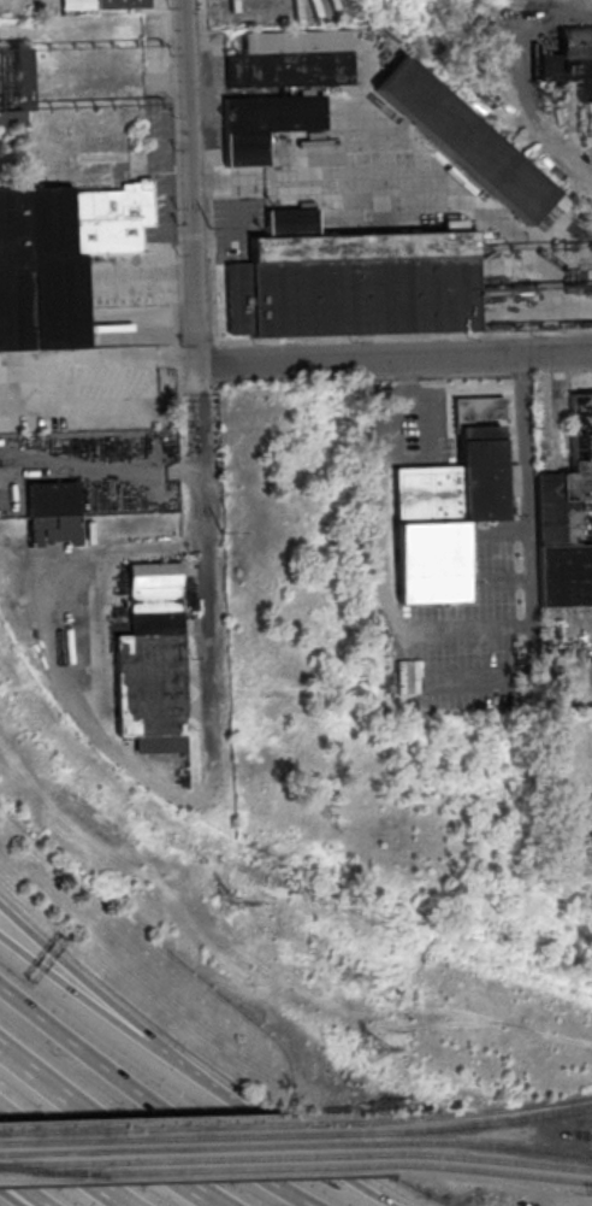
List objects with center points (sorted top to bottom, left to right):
building: (105, 5)
building: (292, 60)
building: (572, 61)
building: (12, 87)
building: (265, 125)
building: (463, 145)
building: (59, 259)
building: (351, 284)
road: (96, 358)
road: (392, 359)
road: (196, 402)
road: (99, 465)
building: (569, 488)
building: (448, 504)
building: (52, 512)
road: (527, 554)
building: (564, 578)
road: (101, 596)
building: (152, 659)
building: (580, 818)
power tower: (230, 901)
road: (117, 999)
road: (114, 1019)
power tower: (369, 1049)
road: (165, 1092)
railway: (448, 1114)
road: (118, 1122)
railway: (457, 1124)
railway: (152, 1126)
railway: (160, 1137)
railway: (466, 1142)
railway: (170, 1147)
road: (75, 1152)
road: (324, 1152)
railway: (433, 1154)
railway: (178, 1158)
railway: (551, 1165)
railway: (18, 1166)
railway: (187, 1169)
railway: (484, 1169)
railway: (66, 1171)
road: (31, 1179)
road: (18, 1196)

